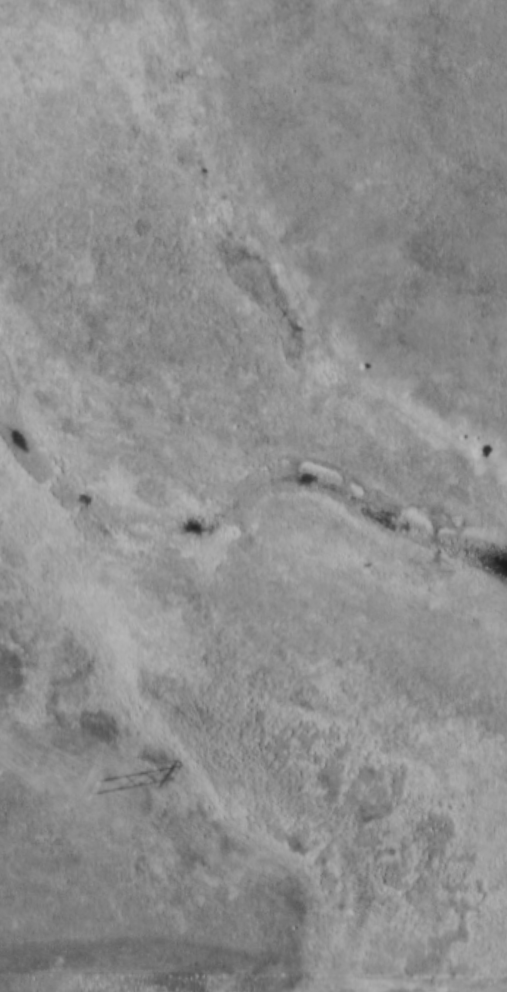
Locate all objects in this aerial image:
power tower: (99, 786)

